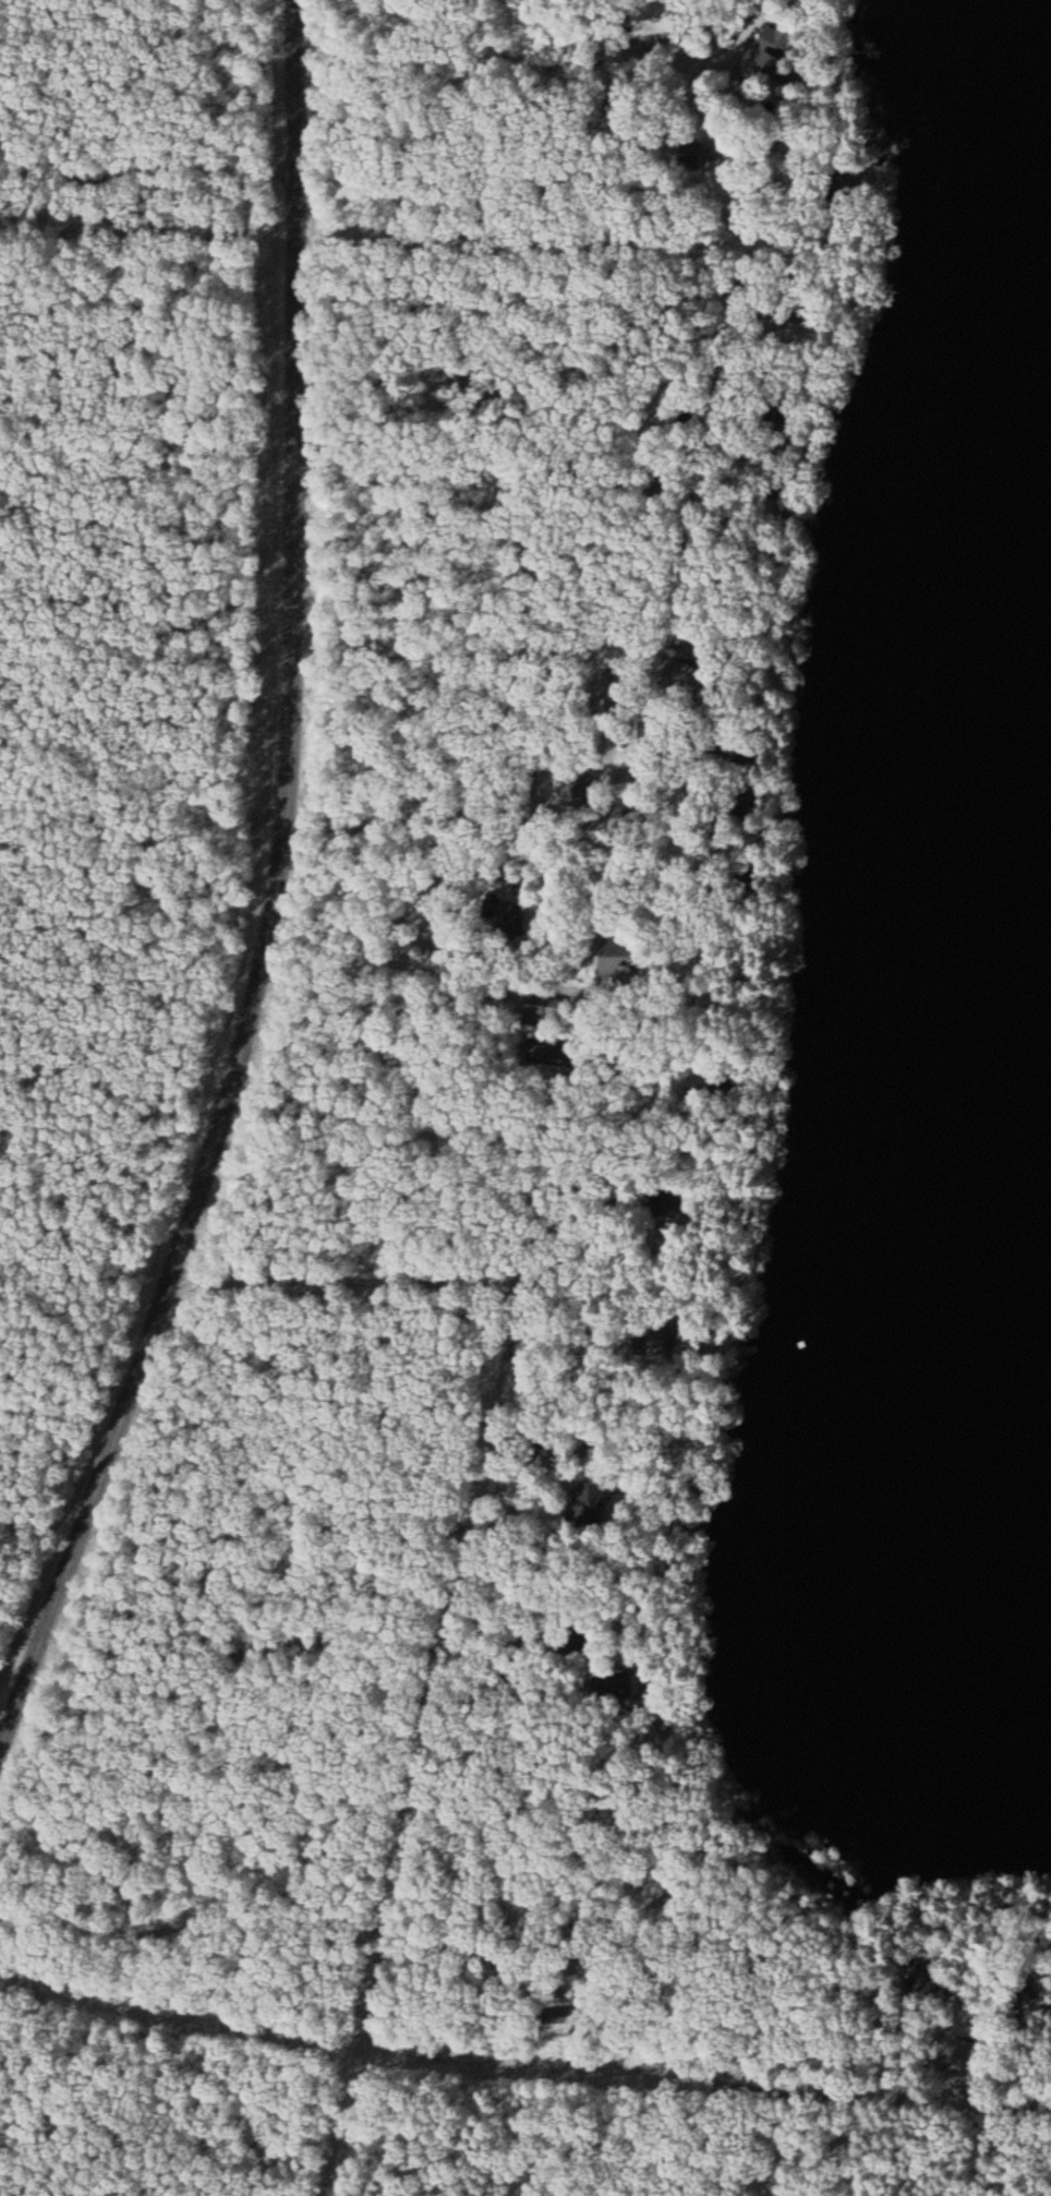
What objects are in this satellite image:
building: (766, 51)
road: (617, 59)
road: (552, 236)
road: (534, 363)
road: (541, 484)
road: (497, 609)
road: (460, 761)
building: (561, 787)
road: (274, 897)
building: (500, 922)
road: (472, 939)
building: (535, 1011)
road: (601, 1087)
road: (440, 1159)
building: (661, 1204)
road: (402, 1267)
road: (366, 1502)
building: (582, 1508)
building: (608, 1683)
road: (312, 1883)
building: (922, 1990)
road: (913, 2108)

